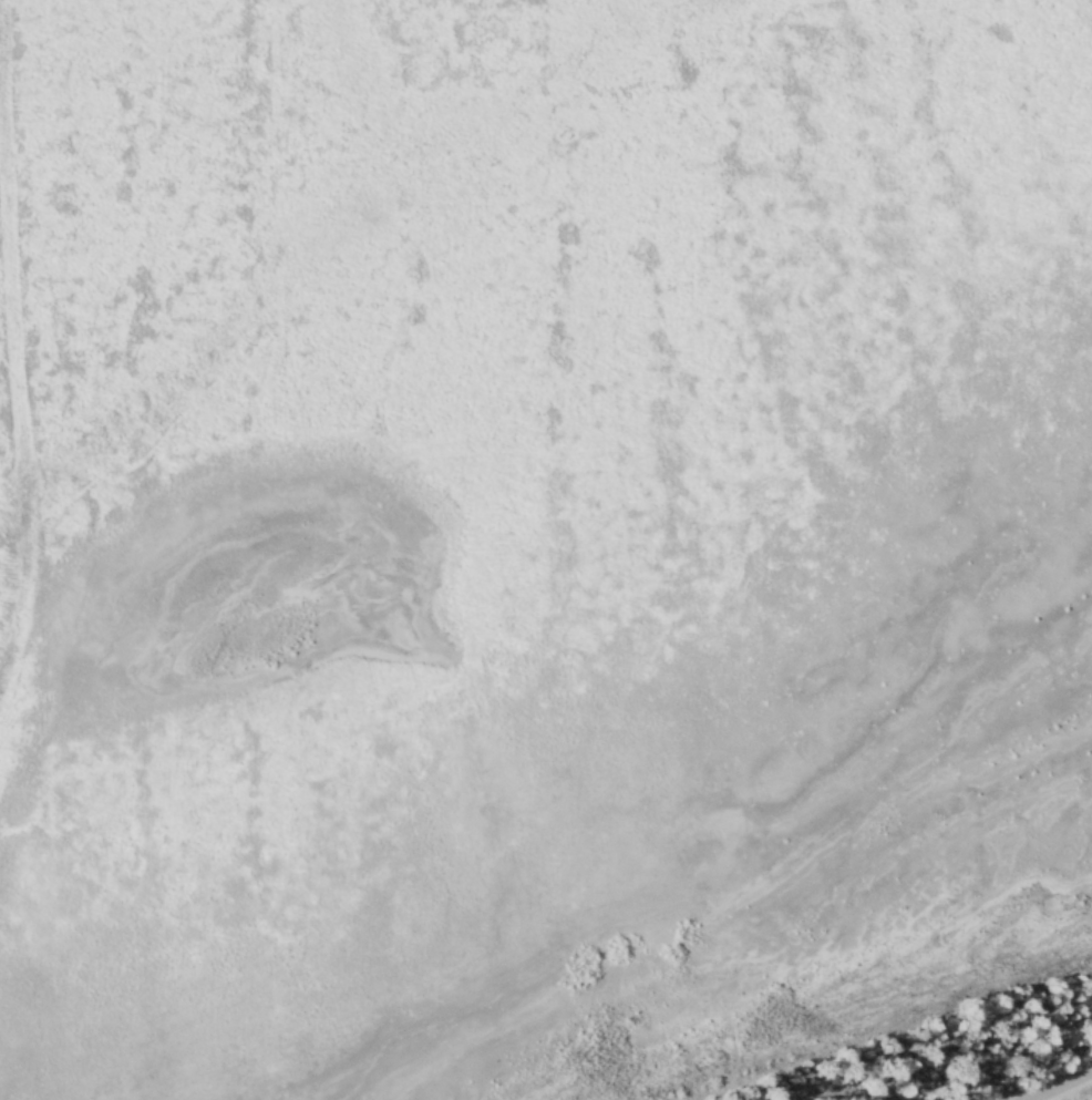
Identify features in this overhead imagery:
road: (1060, 1086)
road: (1034, 1099)

